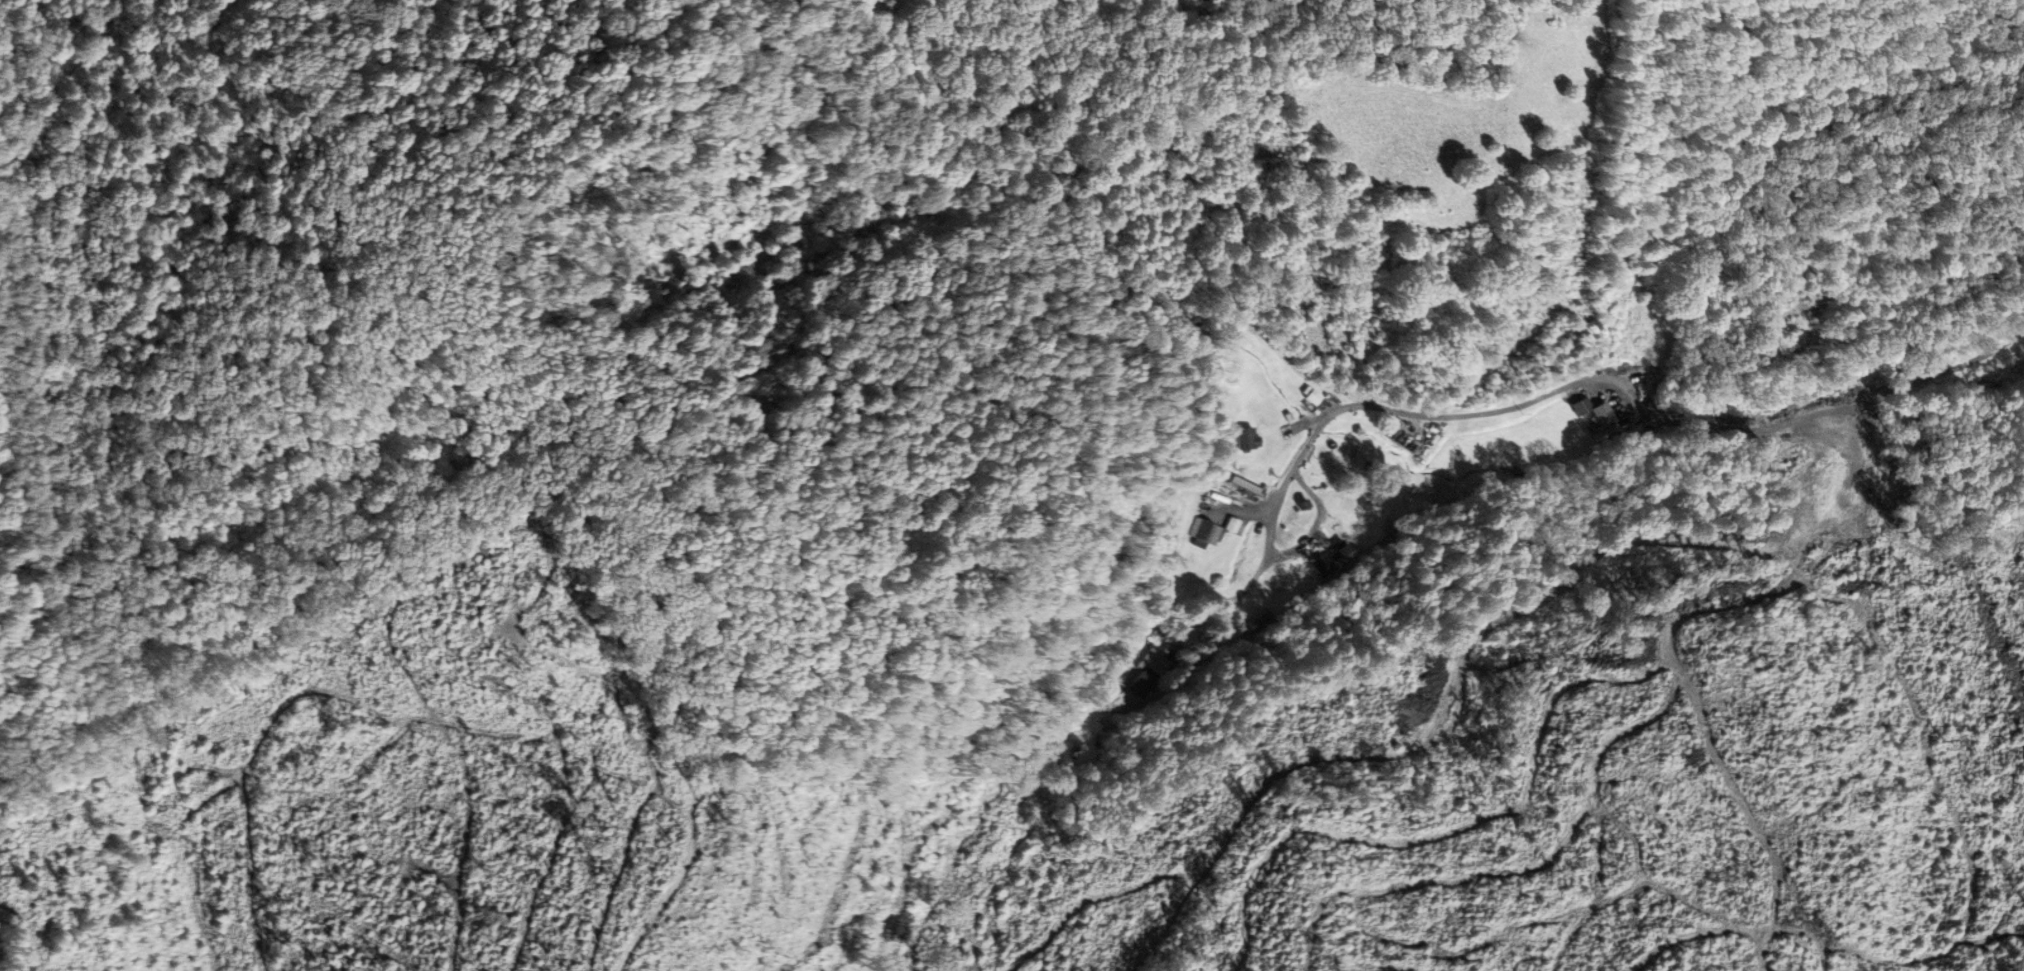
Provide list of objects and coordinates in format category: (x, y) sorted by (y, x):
building: (1310, 398)
building: (1600, 419)
building: (1244, 438)
road: (1695, 442)
building: (1209, 532)
building: (1157, 664)
building: (1137, 687)

